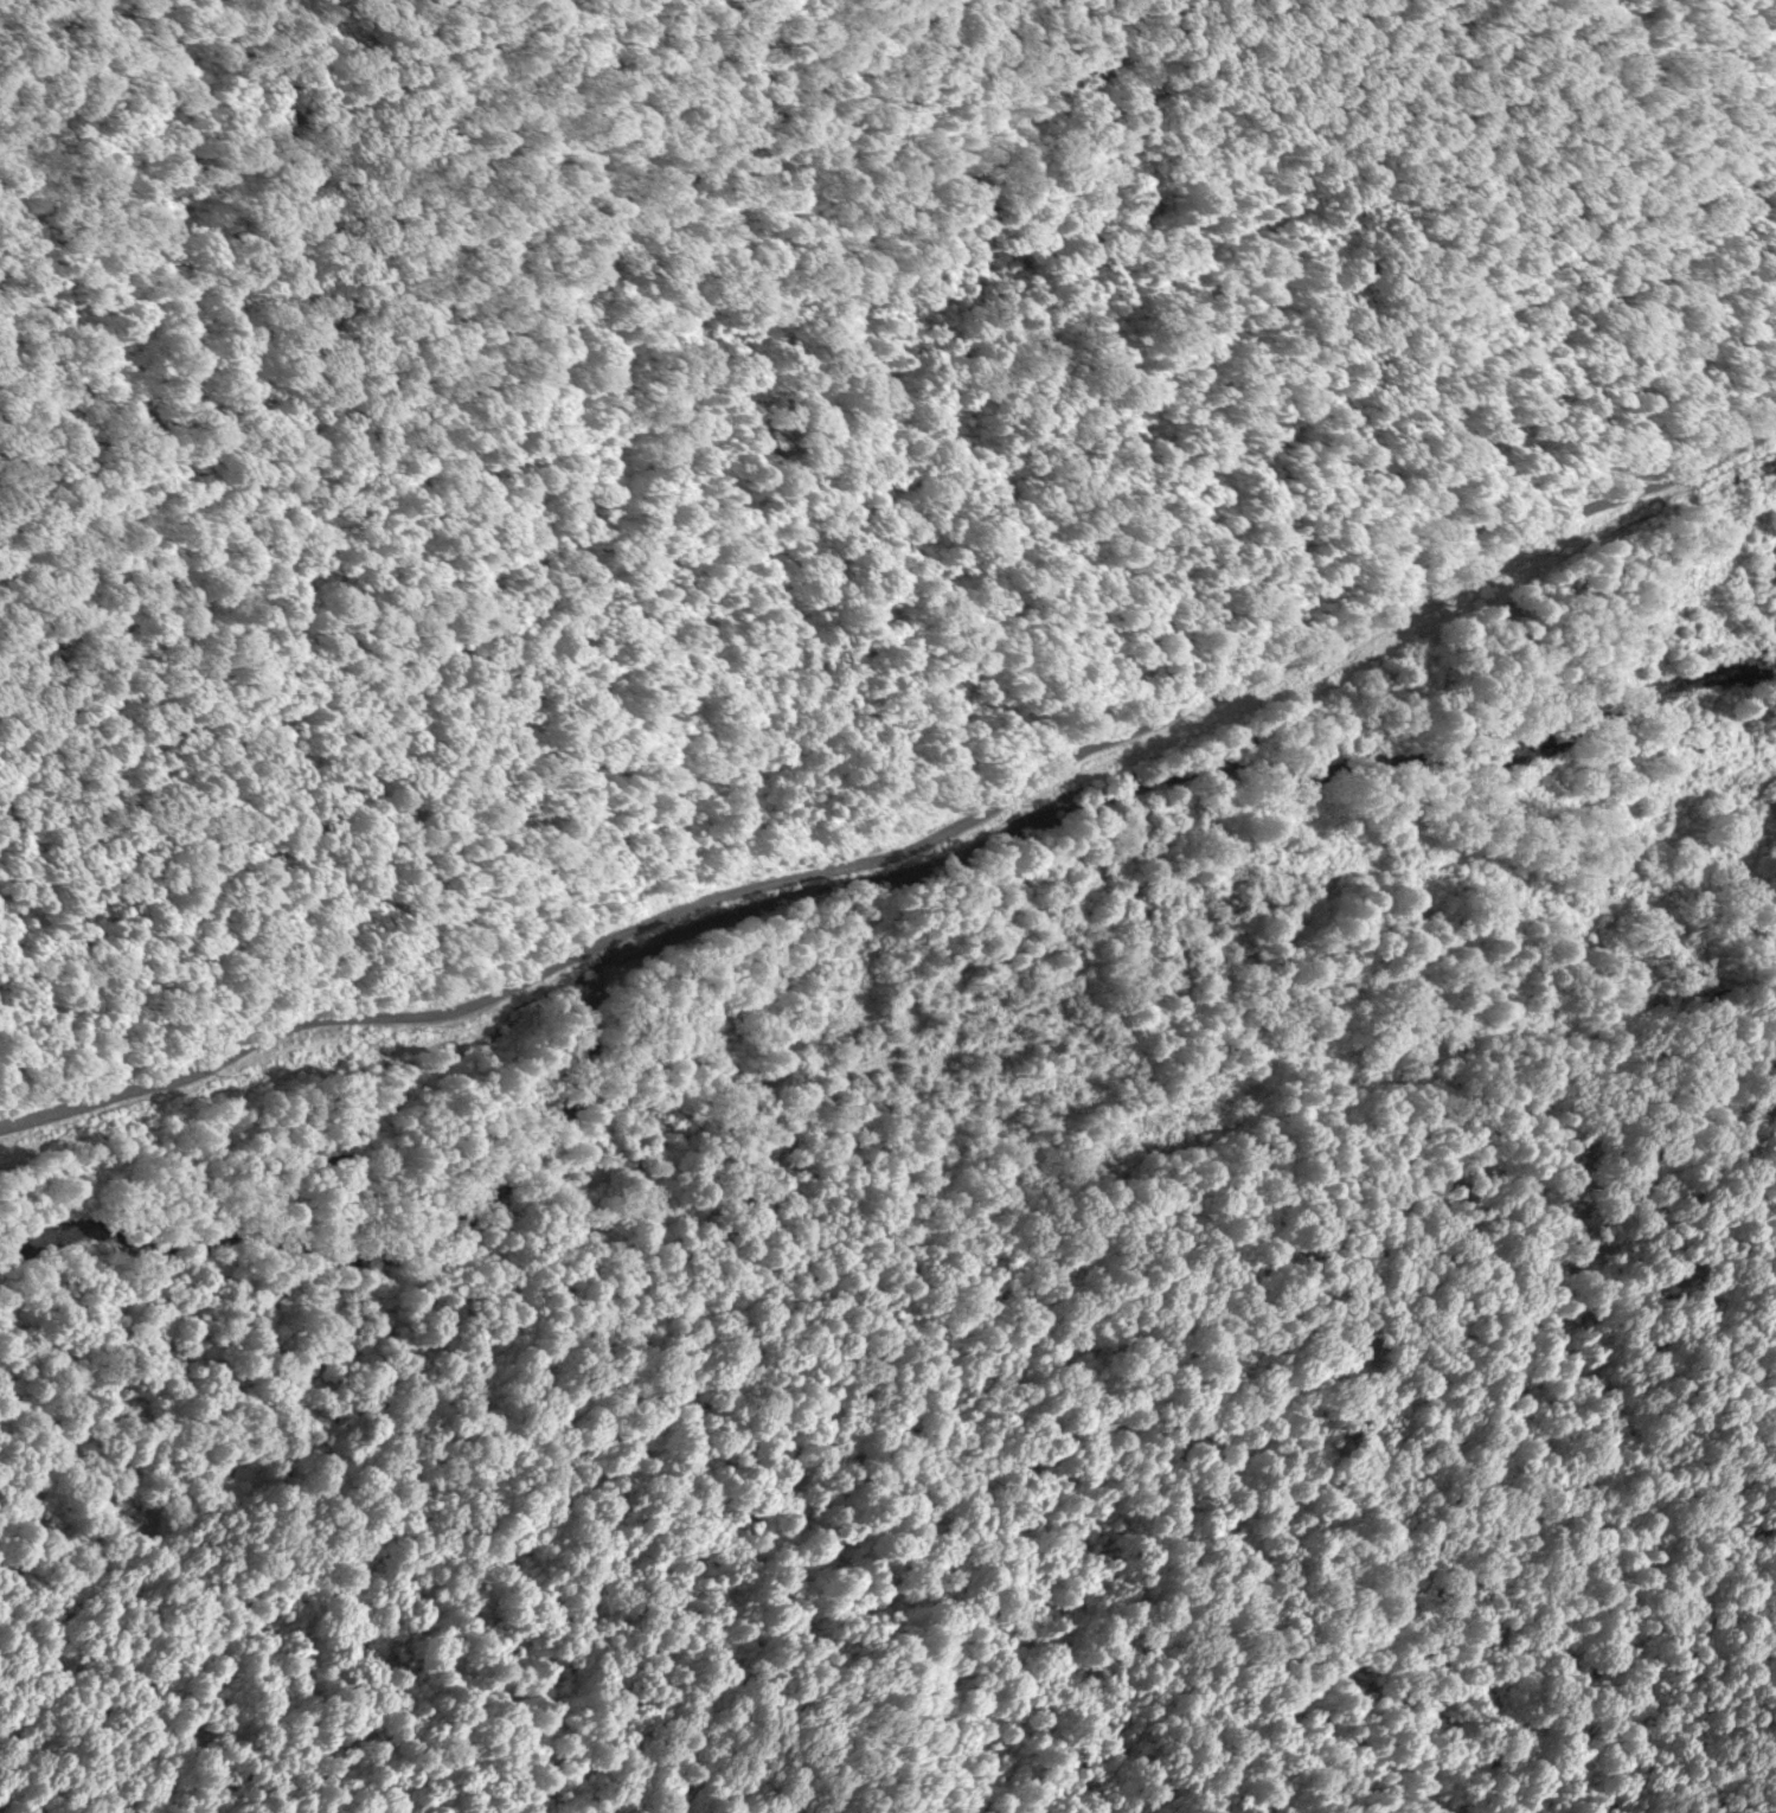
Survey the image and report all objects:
road: (913, 800)

